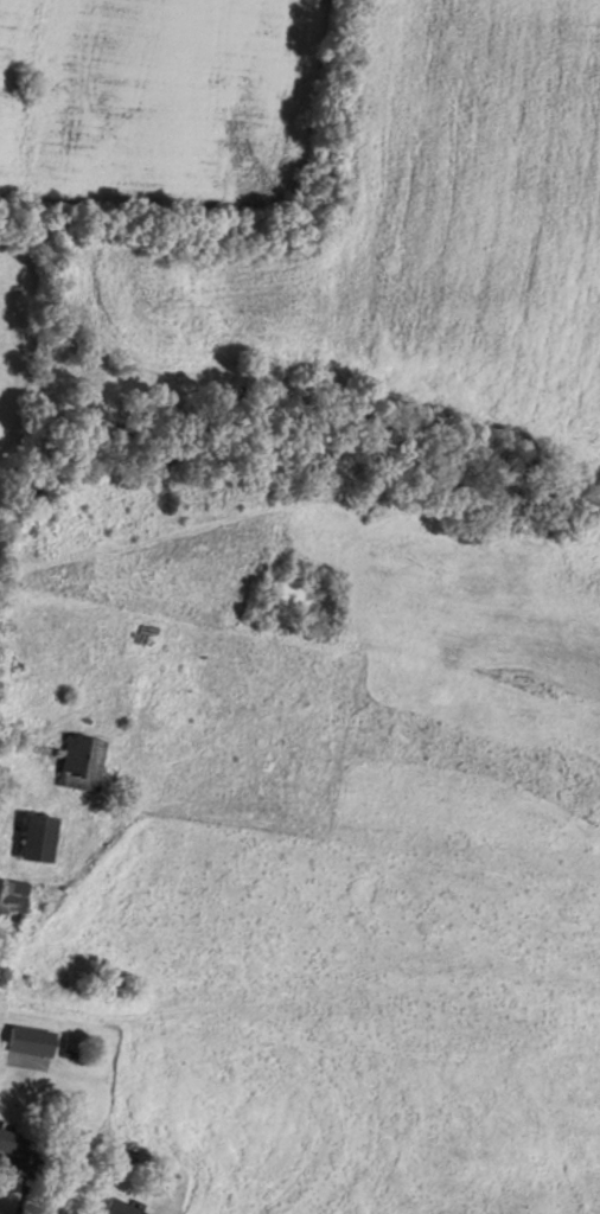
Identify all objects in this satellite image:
building: (85, 761)
building: (44, 837)
building: (11, 892)
building: (12, 1140)
building: (125, 1207)

